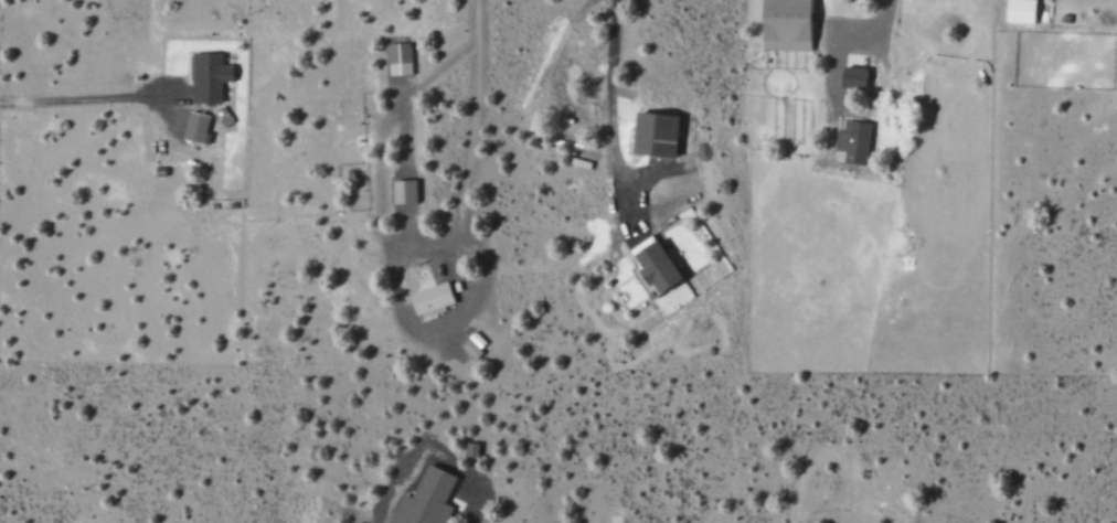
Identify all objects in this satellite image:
building: (1023, 11)
building: (791, 24)
building: (401, 58)
building: (211, 76)
building: (857, 76)
road: (618, 84)
building: (198, 126)
building: (660, 132)
building: (855, 140)
building: (405, 191)
building: (664, 267)
building: (433, 298)
building: (475, 449)
building: (429, 499)

